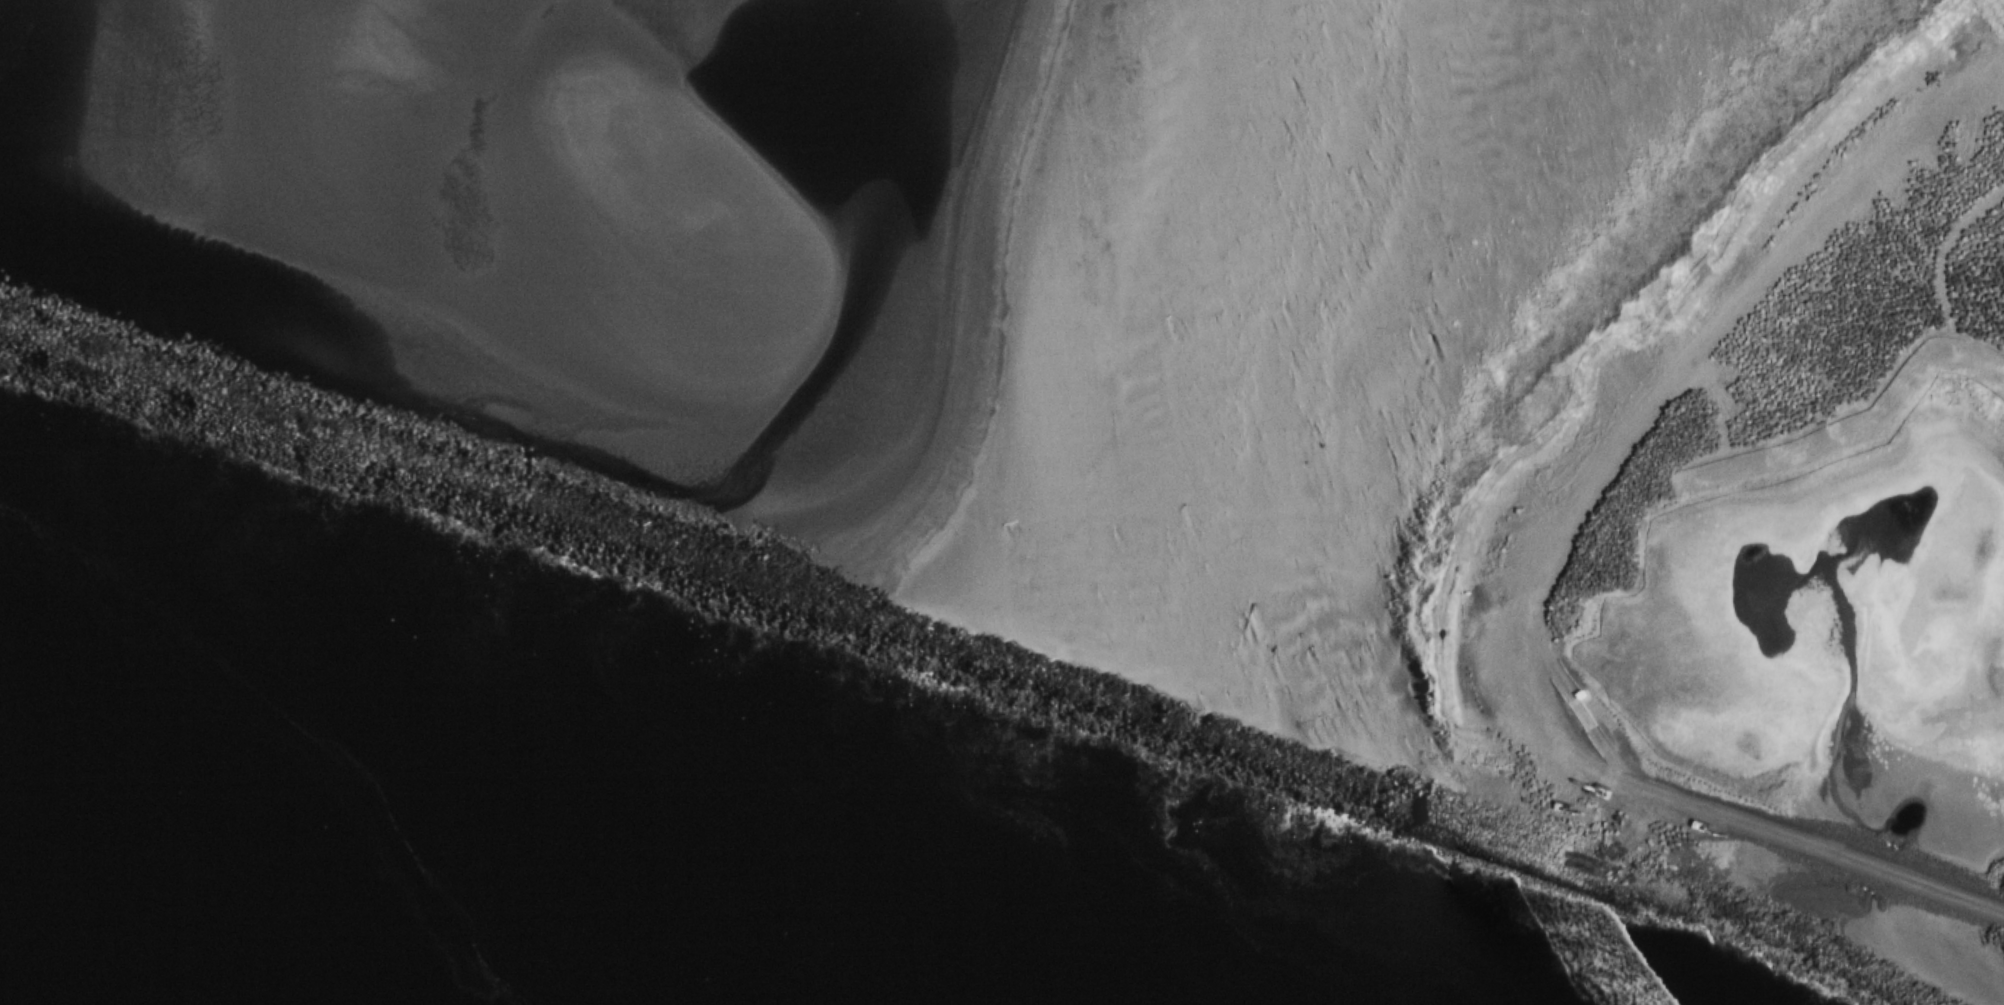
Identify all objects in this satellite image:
road: (2001, 910)

